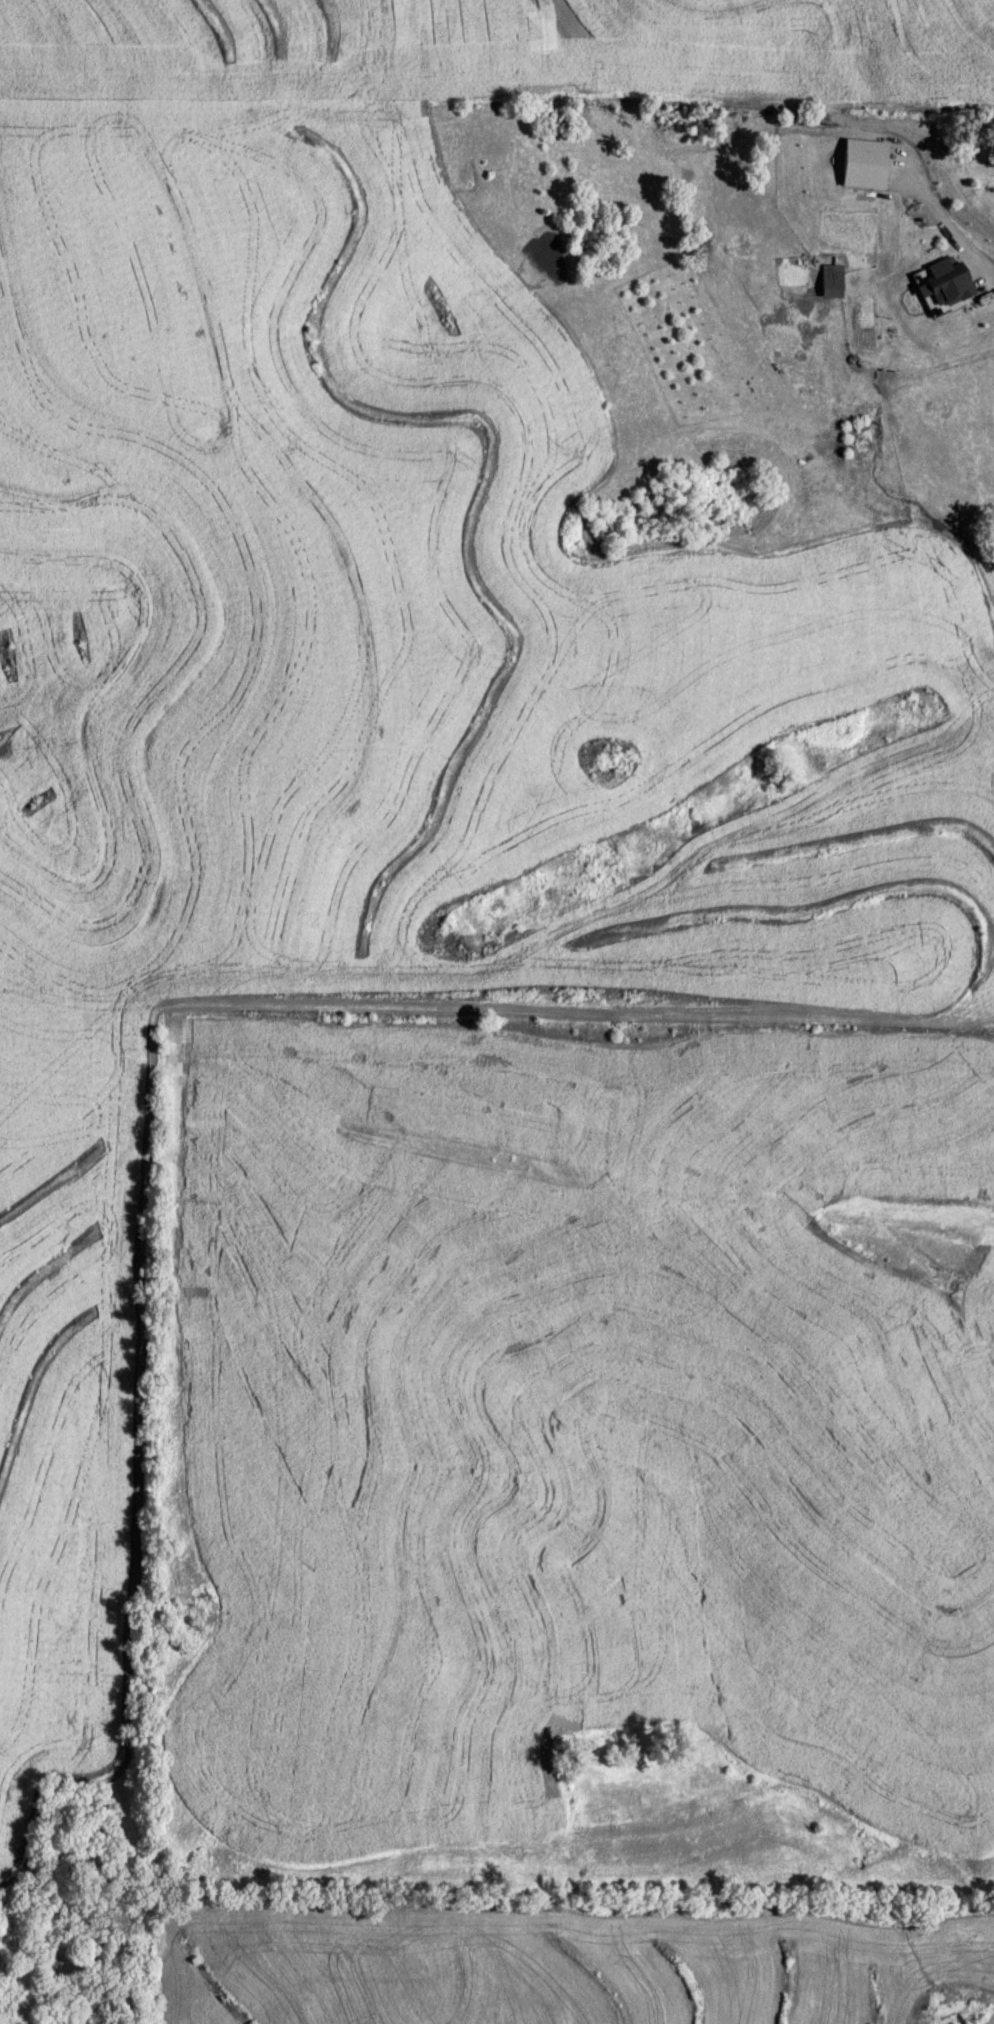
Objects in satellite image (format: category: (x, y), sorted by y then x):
building: (860, 162)
building: (829, 278)
building: (946, 283)

